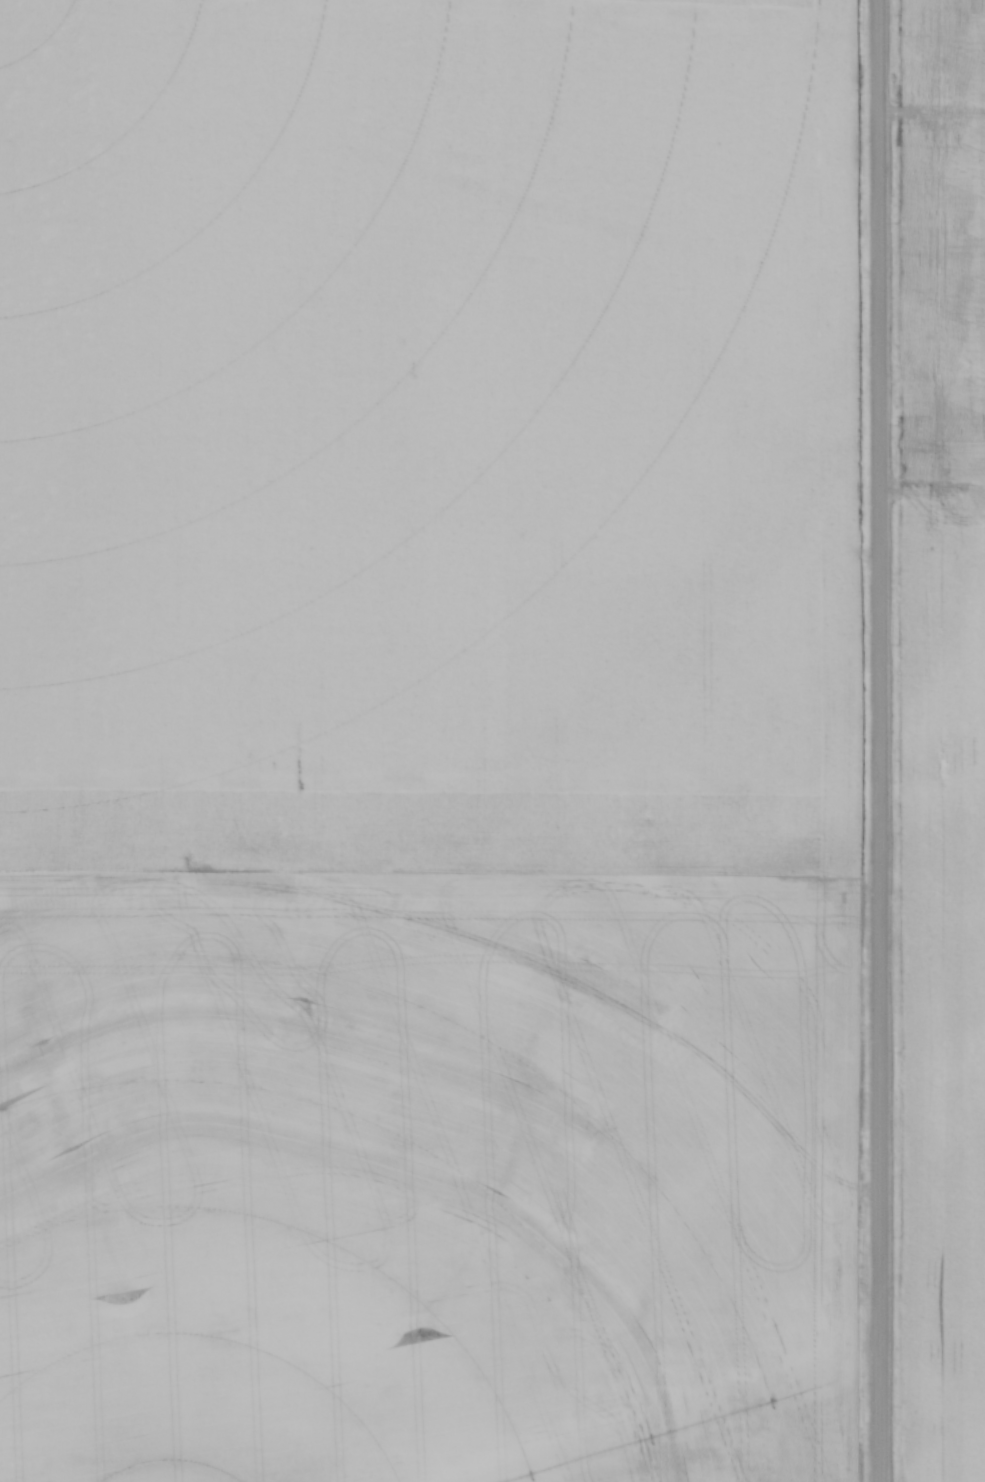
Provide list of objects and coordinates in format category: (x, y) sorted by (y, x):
road: (929, 119)
road: (877, 740)

